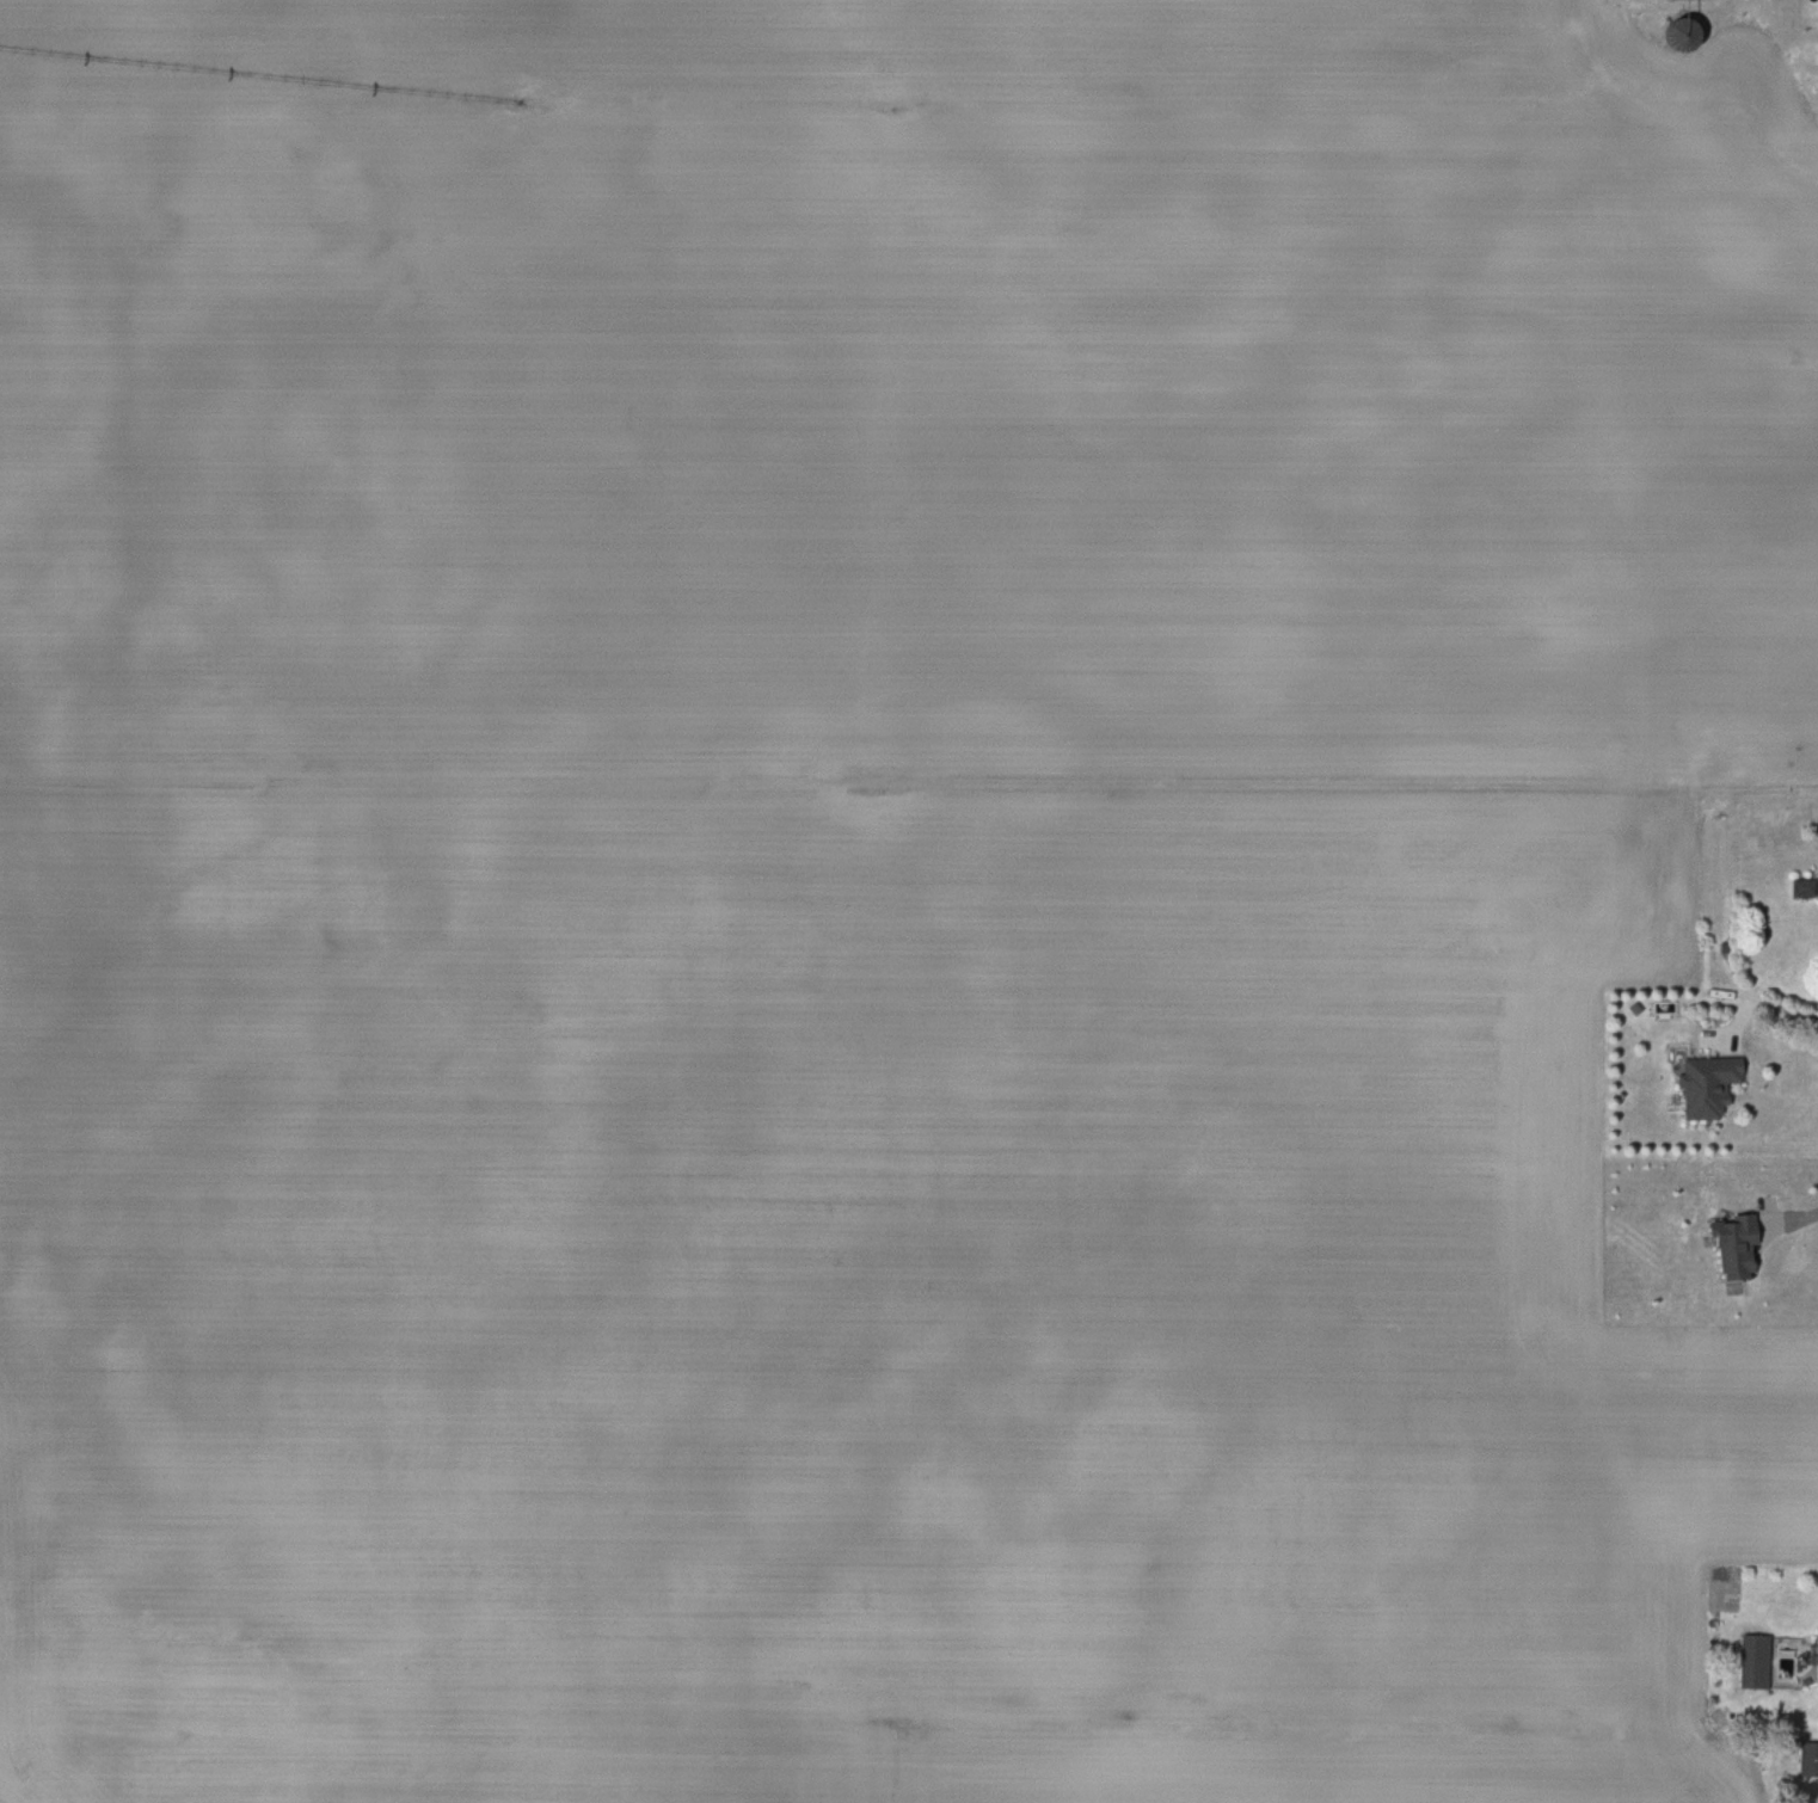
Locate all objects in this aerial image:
building: (1672, 33)
building: (1799, 887)
road: (1780, 1010)
building: (1699, 1085)
road: (1799, 1219)
building: (1726, 1247)
building: (1750, 1660)
building: (1812, 1661)
building: (1806, 1758)

